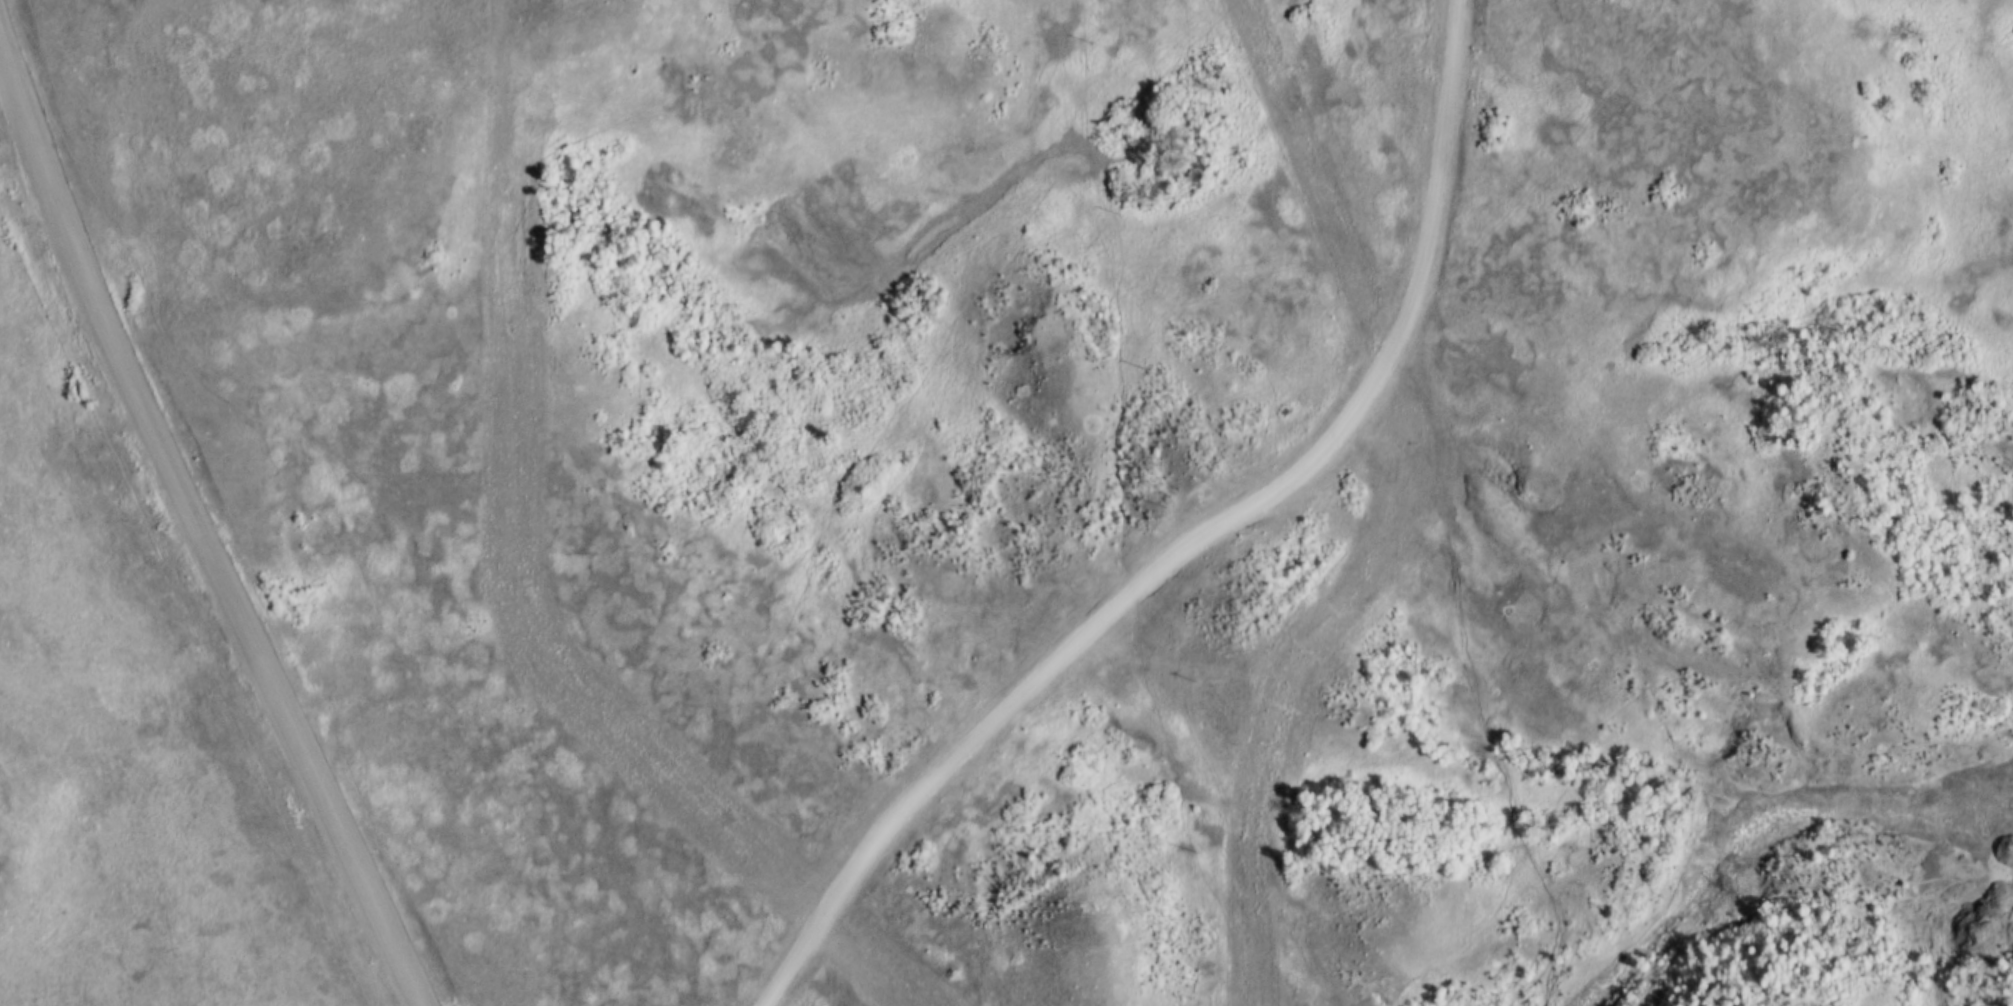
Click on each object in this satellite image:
road: (5, 82)
road: (198, 532)
road: (1187, 538)

